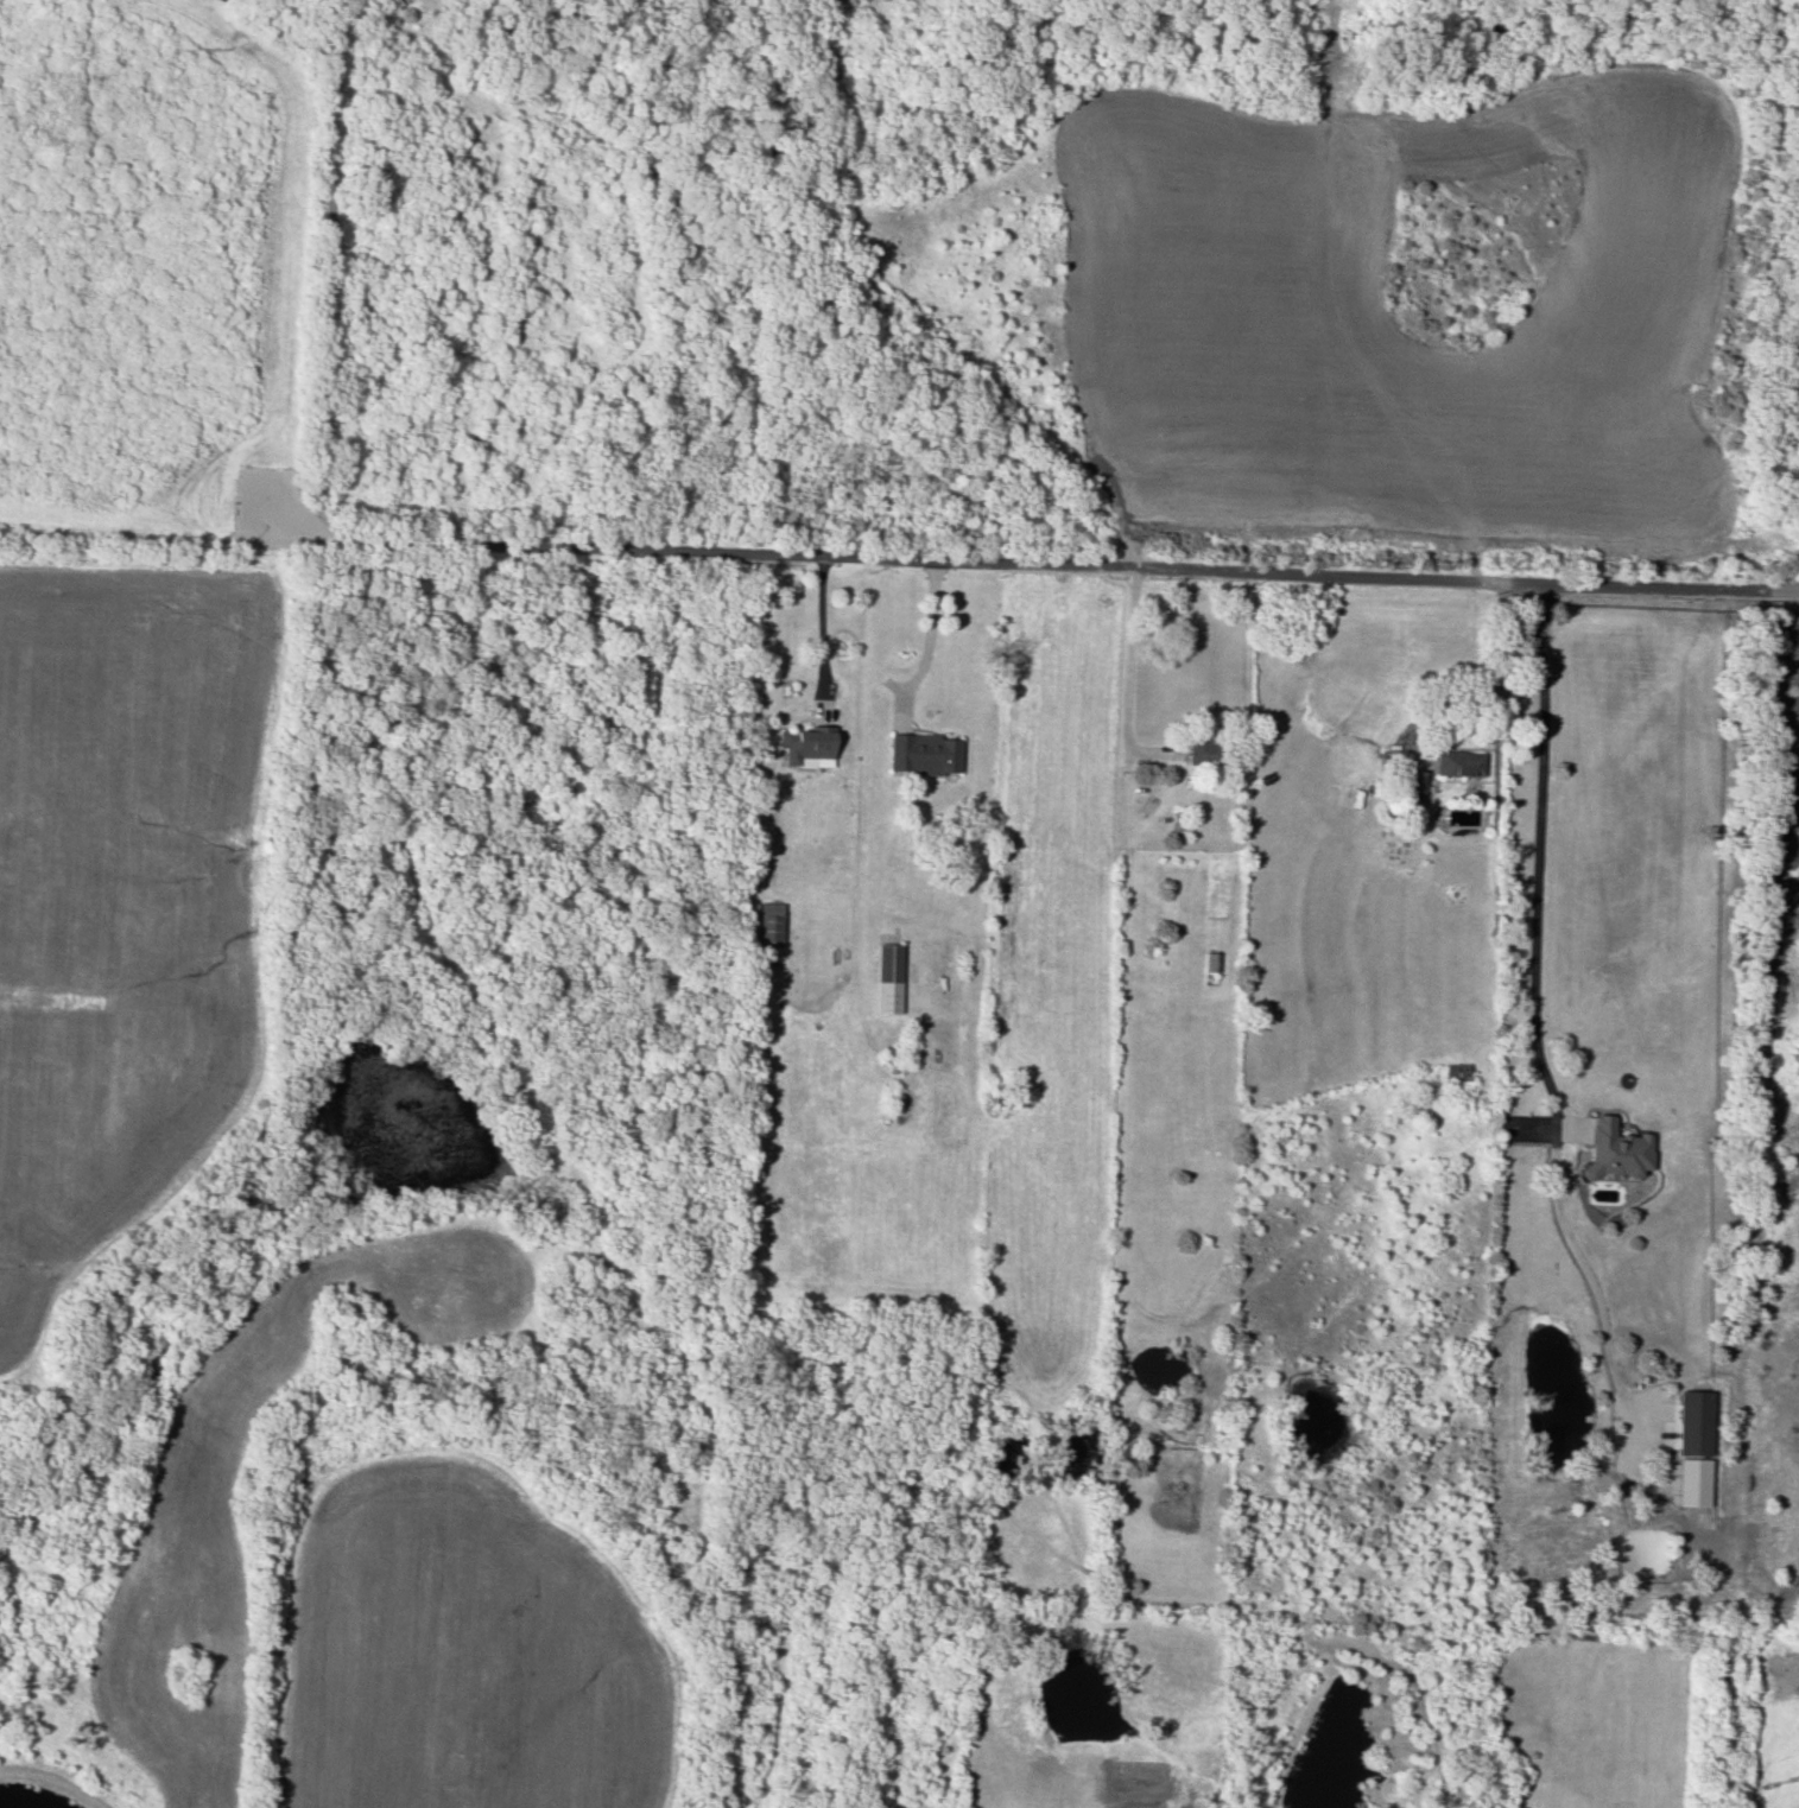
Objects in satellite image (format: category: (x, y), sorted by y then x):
park: (1269, 283)
park: (391, 296)
road: (278, 362)
road: (1063, 569)
road: (822, 624)
road: (929, 640)
road: (1488, 678)
road: (1128, 684)
building: (807, 744)
building: (1198, 750)
building: (924, 754)
building: (1458, 762)
building: (1411, 781)
crop: (121, 914)
building: (769, 924)
building: (888, 978)
road: (1532, 979)
building: (1455, 1072)
building: (1614, 1150)
building: (1692, 1422)
crop: (184, 1550)
crop: (468, 1649)

